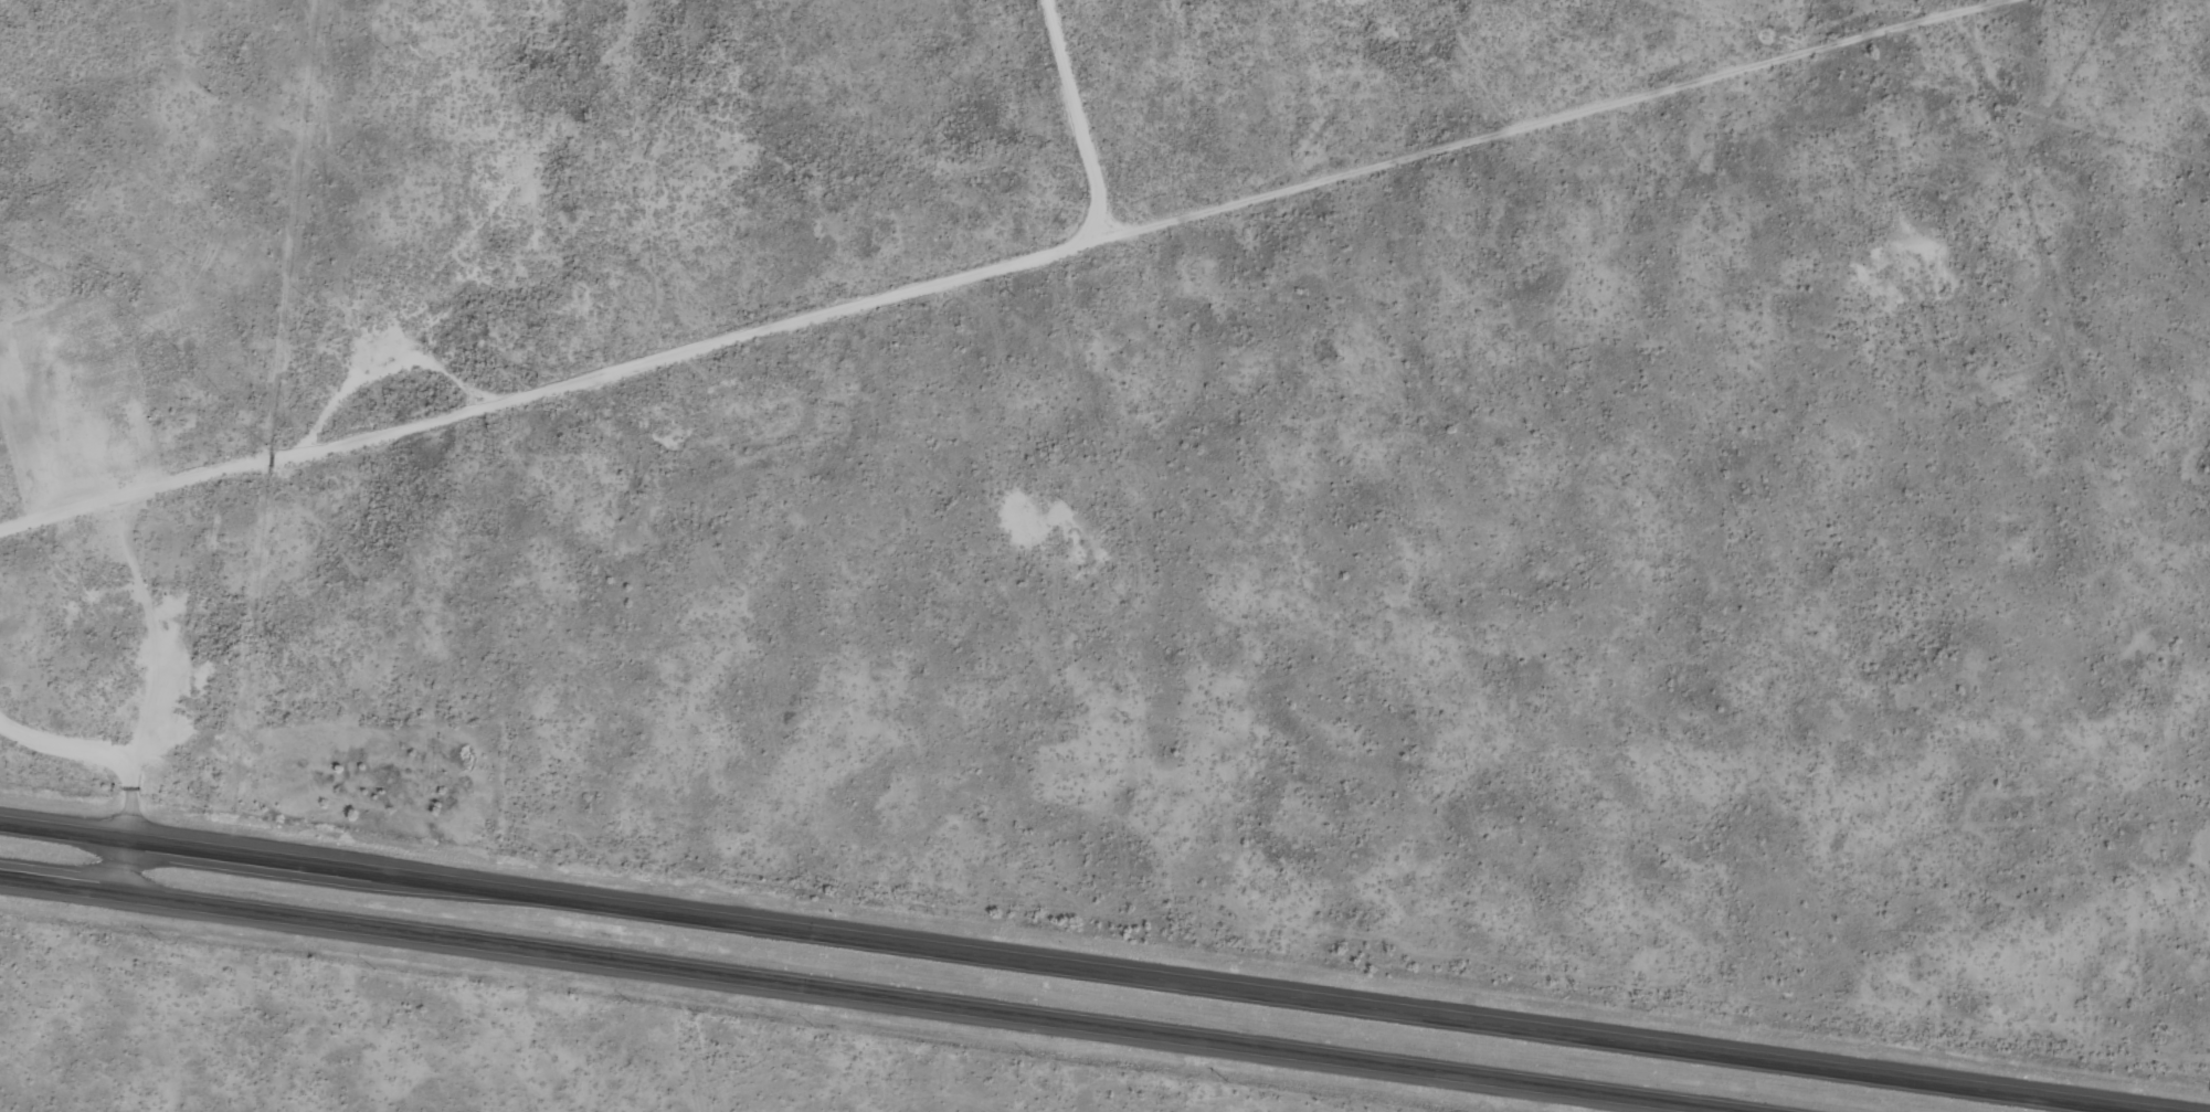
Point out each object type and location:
river: (583, 71)
road: (106, 744)
road: (125, 869)
road: (1064, 968)
road: (864, 995)

